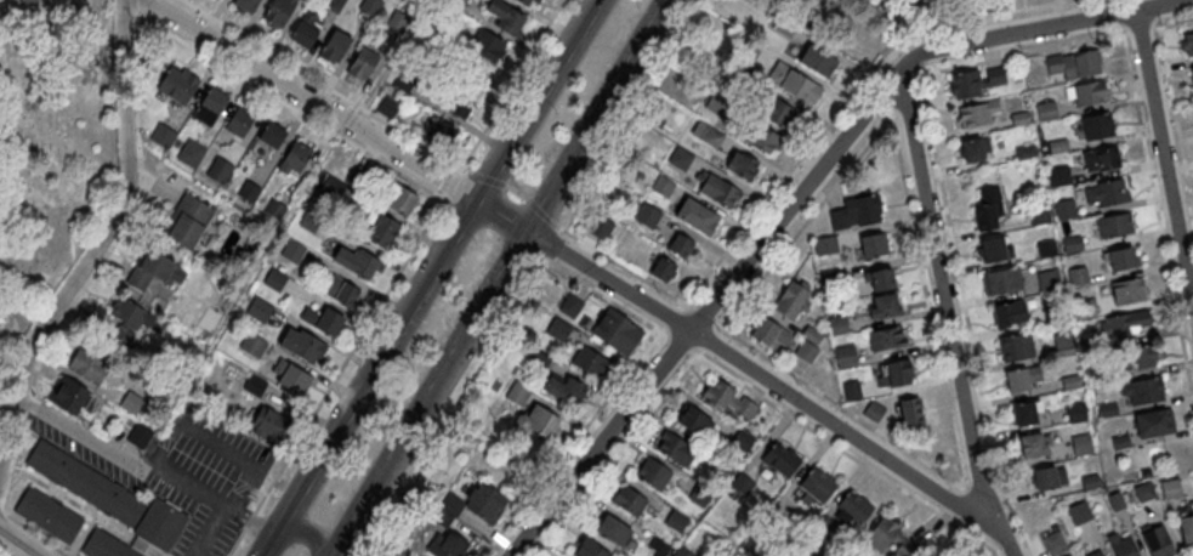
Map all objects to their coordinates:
building: (24, 1)
building: (526, 1)
building: (245, 5)
road: (133, 6)
road: (93, 8)
building: (278, 12)
building: (506, 17)
park: (858, 21)
road: (1174, 24)
road: (1039, 28)
building: (306, 29)
road: (1140, 30)
road: (1124, 34)
building: (1186, 44)
building: (487, 45)
building: (334, 46)
building: (745, 47)
building: (818, 61)
road: (973, 62)
building: (362, 64)
building: (1073, 64)
road: (55, 72)
building: (1191, 73)
building: (976, 81)
building: (794, 83)
building: (177, 84)
road: (510, 85)
road: (326, 86)
building: (1085, 92)
road: (903, 97)
building: (459, 100)
road: (843, 104)
building: (209, 106)
road: (291, 106)
building: (388, 106)
building: (1045, 109)
building: (776, 110)
building: (978, 112)
road: (1175, 119)
building: (239, 121)
building: (1096, 125)
building: (442, 132)
building: (163, 135)
building: (271, 135)
building: (760, 137)
building: (976, 148)
park: (51, 151)
building: (191, 154)
building: (295, 158)
building: (1100, 158)
building: (742, 165)
road: (1163, 166)
building: (218, 171)
building: (1058, 175)
road: (1149, 175)
building: (356, 176)
road: (485, 178)
road: (453, 182)
building: (663, 185)
building: (335, 188)
road: (515, 191)
building: (718, 192)
building: (1104, 192)
building: (402, 199)
building: (989, 208)
building: (1064, 208)
road: (541, 210)
building: (857, 211)
building: (647, 214)
building: (697, 215)
road: (806, 220)
building: (188, 221)
road: (487, 225)
building: (1113, 225)
building: (602, 227)
building: (384, 231)
building: (874, 244)
building: (680, 245)
building: (825, 245)
road: (100, 248)
building: (994, 248)
building: (291, 251)
building: (1120, 257)
road: (573, 260)
road: (101, 263)
building: (363, 263)
road: (621, 265)
building: (663, 268)
building: (152, 273)
building: (274, 278)
road: (428, 278)
road: (499, 278)
building: (880, 279)
building: (1002, 279)
building: (1047, 279)
building: (341, 290)
building: (1126, 290)
road: (595, 291)
building: (791, 299)
building: (885, 305)
building: (259, 308)
building: (1009, 312)
road: (703, 313)
road: (703, 314)
road: (944, 316)
road: (671, 317)
road: (19, 318)
road: (966, 318)
building: (323, 319)
building: (1125, 323)
building: (837, 324)
building: (617, 331)
building: (771, 334)
building: (887, 339)
road: (710, 340)
road: (677, 342)
building: (1062, 342)
building: (302, 345)
building: (1016, 346)
road: (757, 351)
building: (806, 351)
building: (846, 356)
building: (1138, 356)
building: (589, 361)
building: (275, 363)
road: (691, 364)
building: (86, 365)
building: (894, 373)
road: (336, 375)
building: (1019, 378)
building: (564, 388)
building: (851, 390)
building: (1141, 390)
building: (517, 392)
building: (70, 396)
road: (944, 397)
building: (729, 401)
building: (131, 402)
building: (1075, 410)
building: (874, 412)
building: (910, 412)
building: (1026, 412)
building: (693, 421)
building: (1153, 421)
building: (539, 422)
building: (269, 424)
building: (138, 435)
road: (85, 437)
road: (211, 438)
road: (572, 442)
building: (1034, 443)
building: (1081, 443)
building: (675, 447)
road: (846, 450)
building: (782, 459)
road: (608, 466)
parking lot: (172, 467)
building: (653, 472)
building: (1047, 476)
building: (89, 482)
building: (742, 484)
building: (818, 484)
road: (962, 487)
building: (1170, 488)
road: (973, 494)
road: (214, 499)
road: (962, 499)
building: (629, 500)
building: (484, 501)
road: (85, 509)
building: (853, 509)
building: (50, 514)
road: (249, 517)
building: (676, 520)
building: (1186, 521)
building: (613, 529)
road: (305, 532)
building: (882, 532)
road: (33, 533)
building: (140, 533)
road: (80, 535)
building: (1158, 539)
building: (1053, 544)
building: (1121, 544)
building: (659, 546)
road: (10, 549)
building: (590, 549)
building: (683, 551)
building: (1093, 552)
building: (1072, 555)

